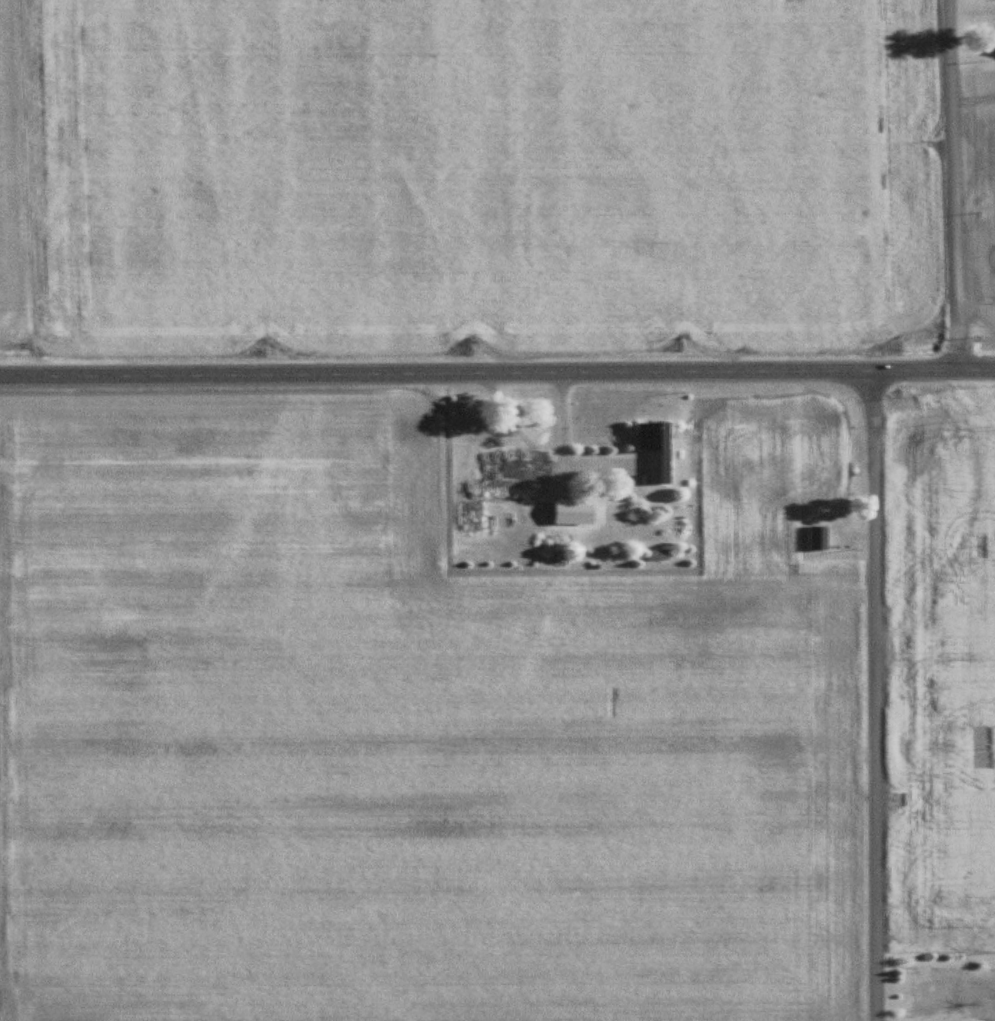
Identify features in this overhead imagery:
road: (953, 184)
road: (497, 374)
building: (658, 450)
road: (561, 451)
building: (498, 485)
building: (818, 538)
building: (557, 548)
building: (656, 556)
road: (870, 695)

